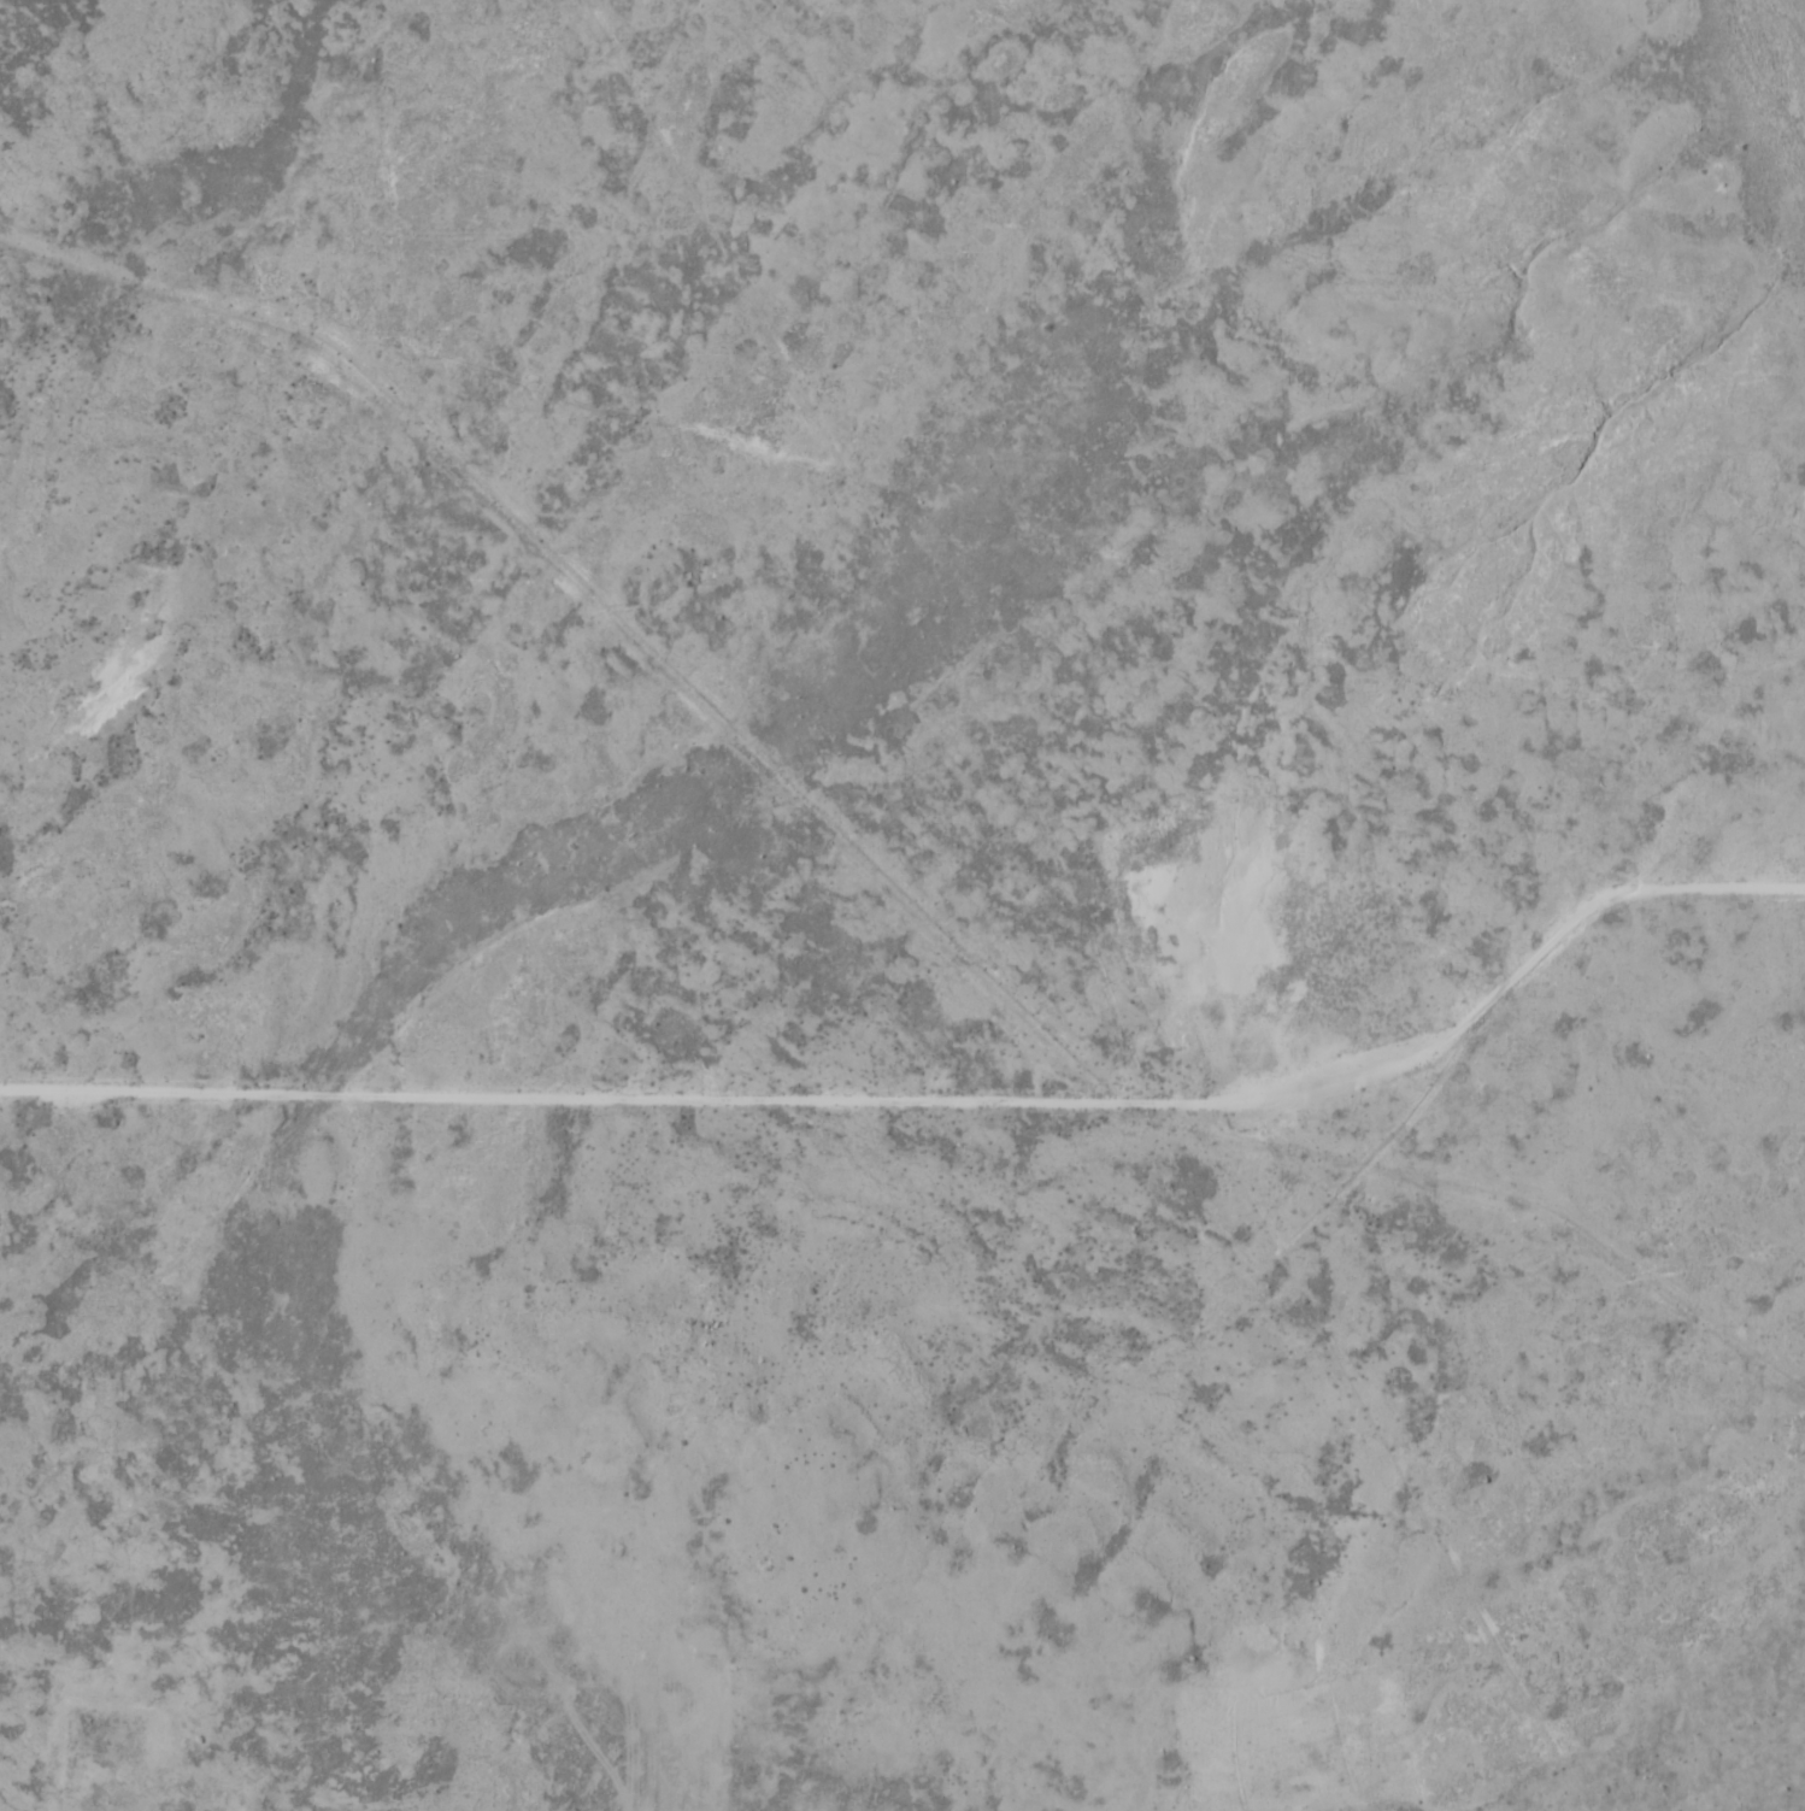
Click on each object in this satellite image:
road: (933, 1105)

